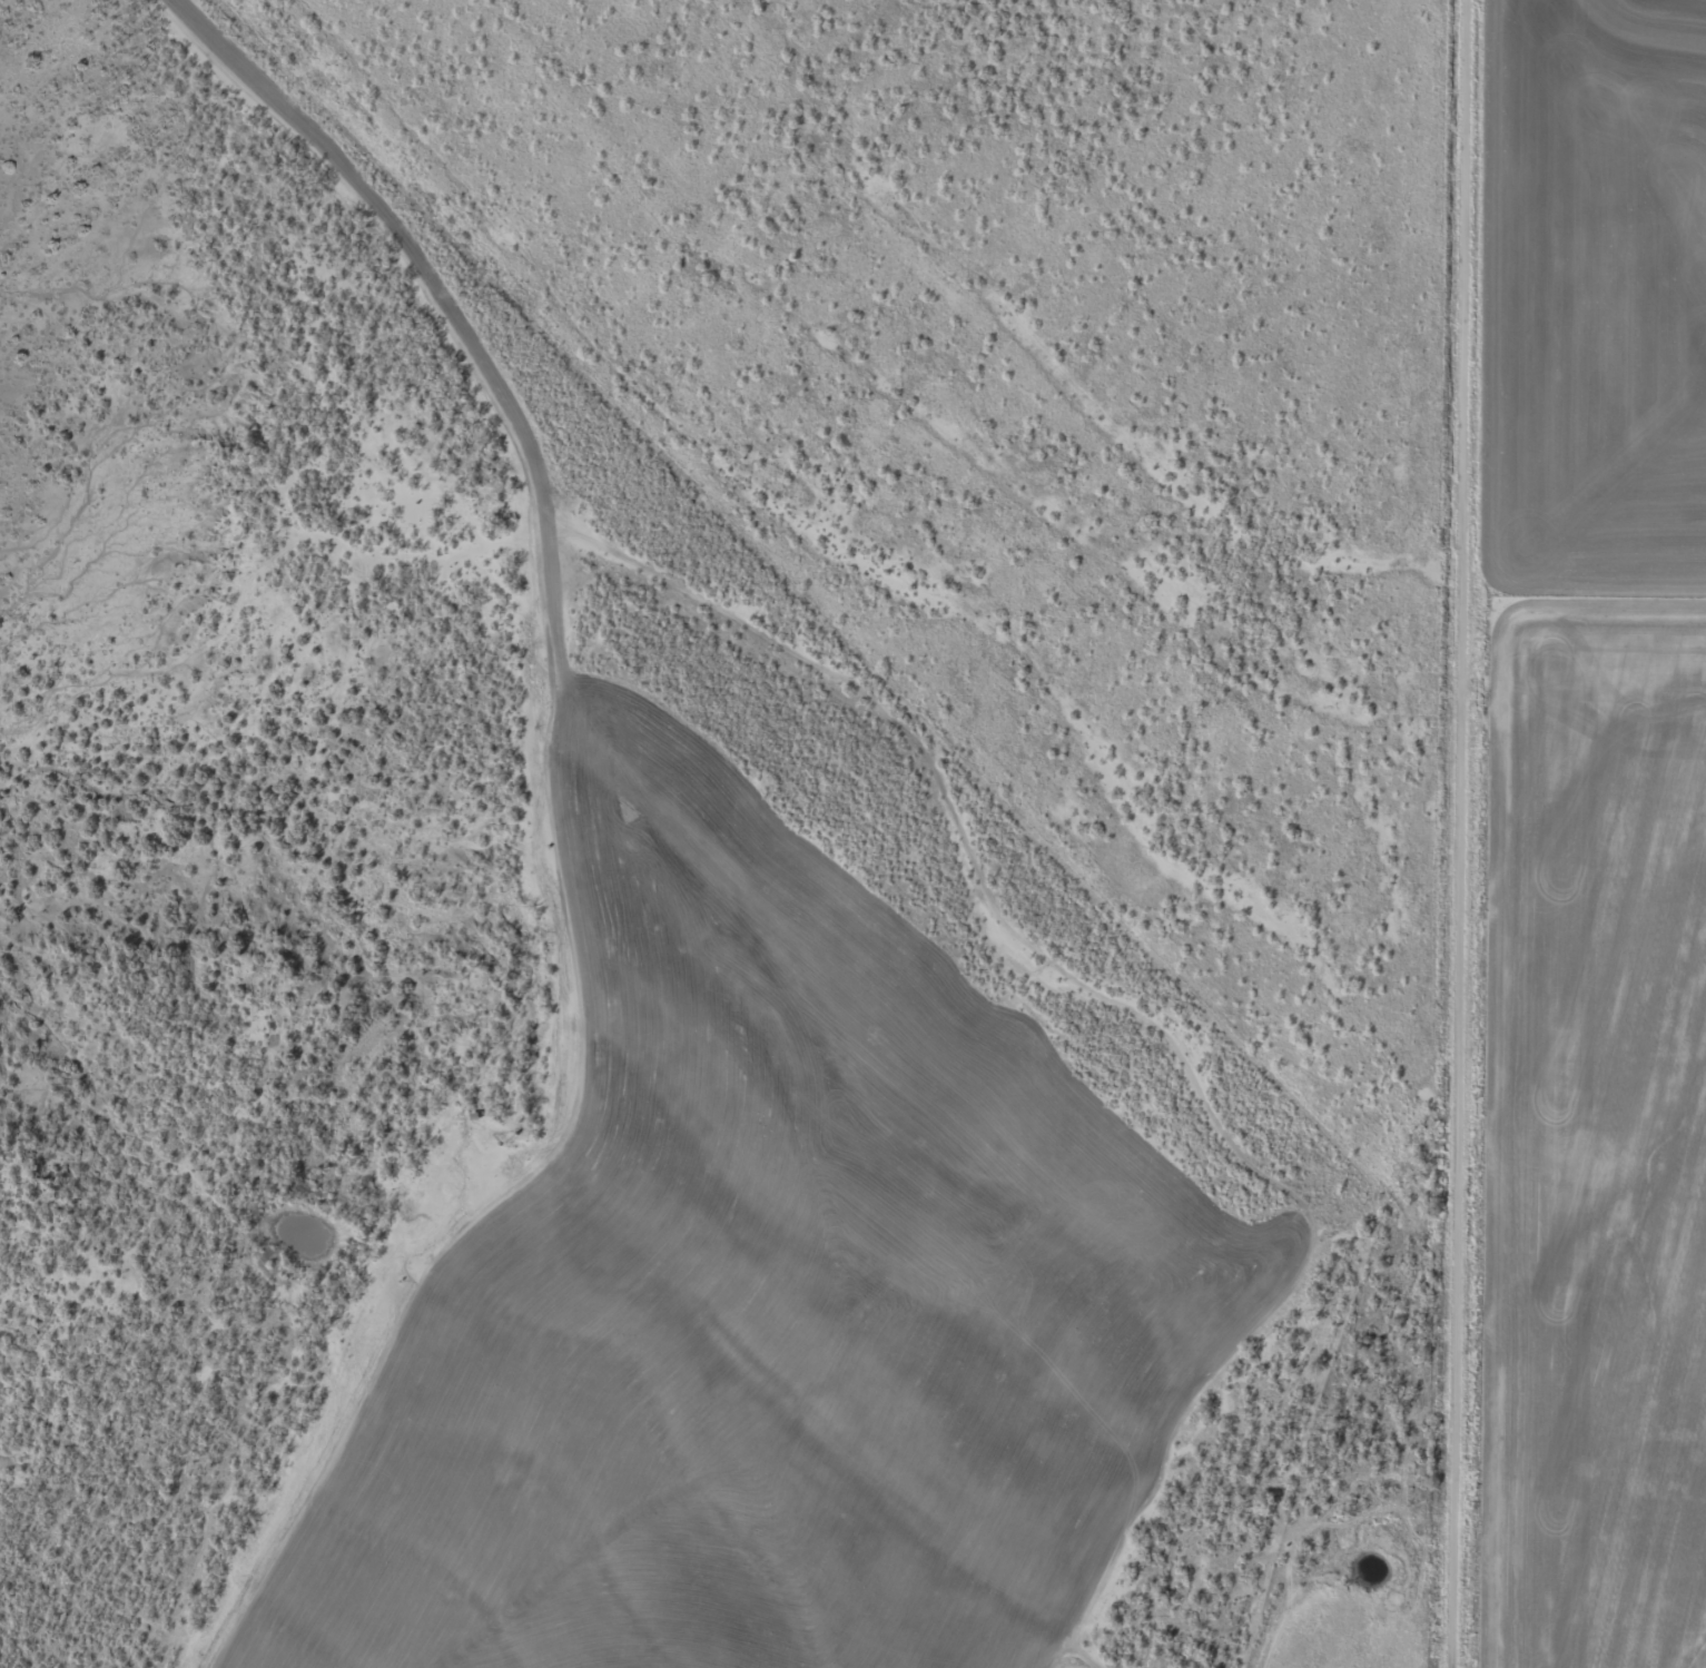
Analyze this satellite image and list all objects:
road: (1465, 833)

